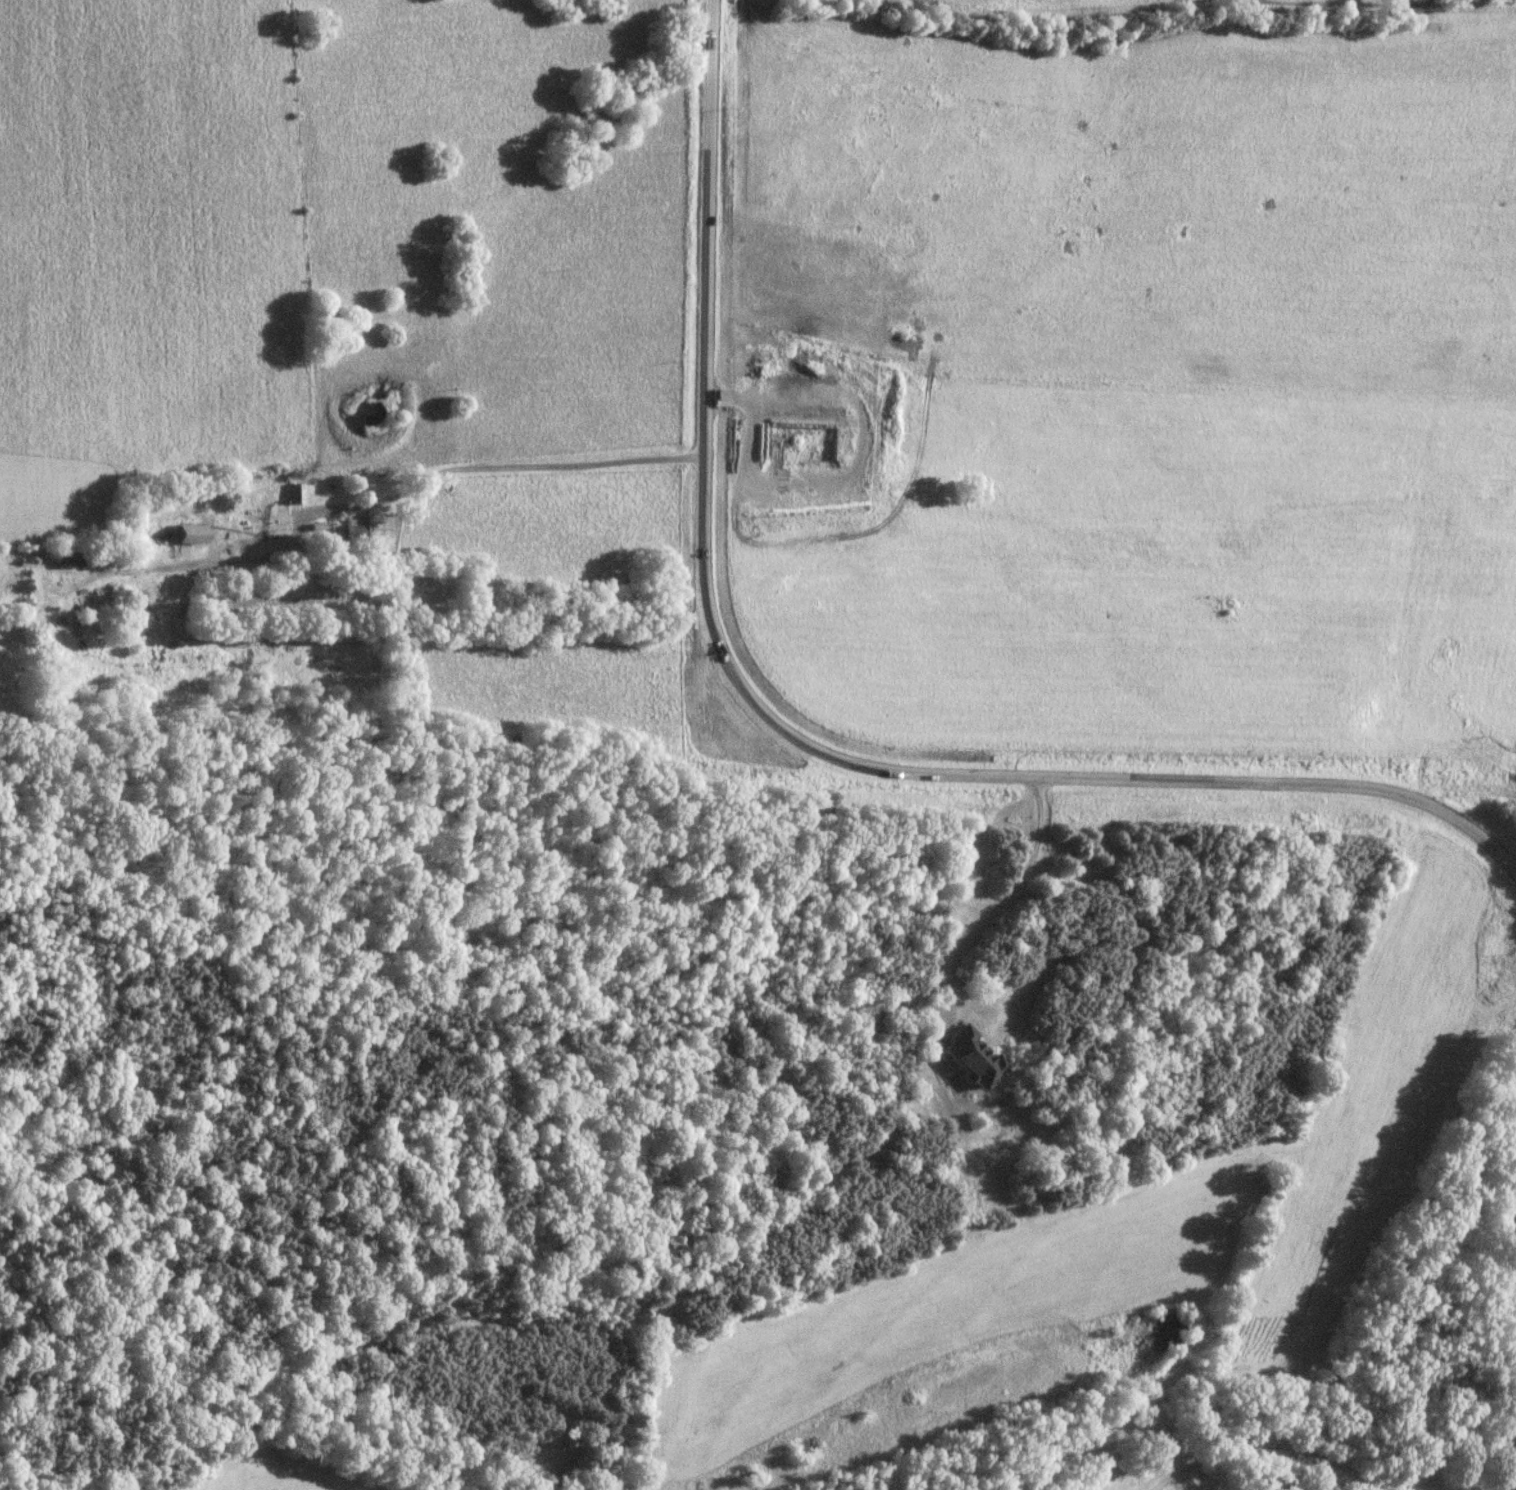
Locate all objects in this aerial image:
road: (506, 464)
building: (297, 495)
building: (358, 531)
building: (189, 535)
building: (69, 559)
road: (796, 727)
road: (1002, 906)
building: (972, 1058)
road: (1277, 1444)
road: (1504, 1485)

